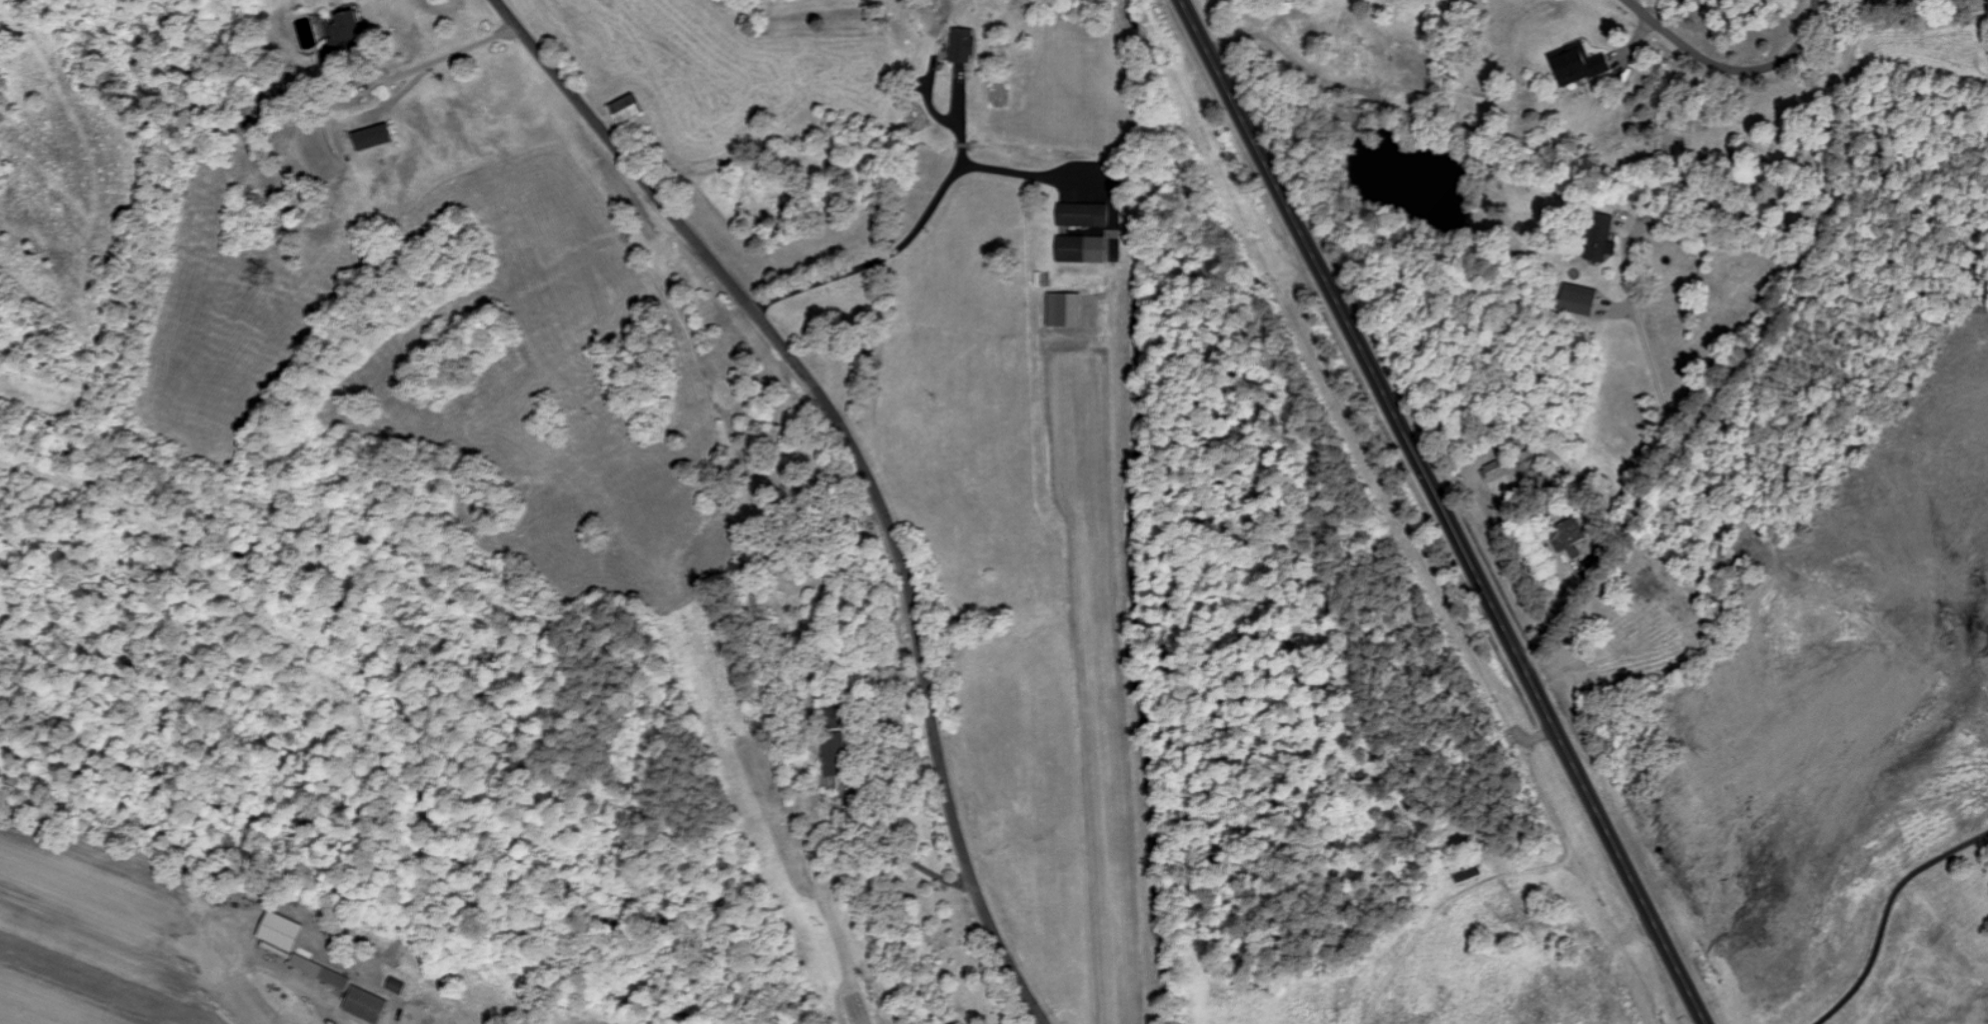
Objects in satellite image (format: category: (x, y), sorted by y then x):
building: (346, 34)
building: (960, 45)
road: (1726, 64)
building: (1576, 66)
building: (621, 109)
building: (367, 135)
building: (1081, 214)
building: (1598, 236)
building: (1078, 248)
road: (1761, 291)
building: (1575, 297)
building: (1062, 308)
road: (863, 465)
building: (1493, 467)
road: (1444, 511)
building: (1569, 537)
building: (828, 752)
building: (1464, 872)
road: (218, 929)
building: (275, 932)
building: (317, 971)
building: (363, 1004)

